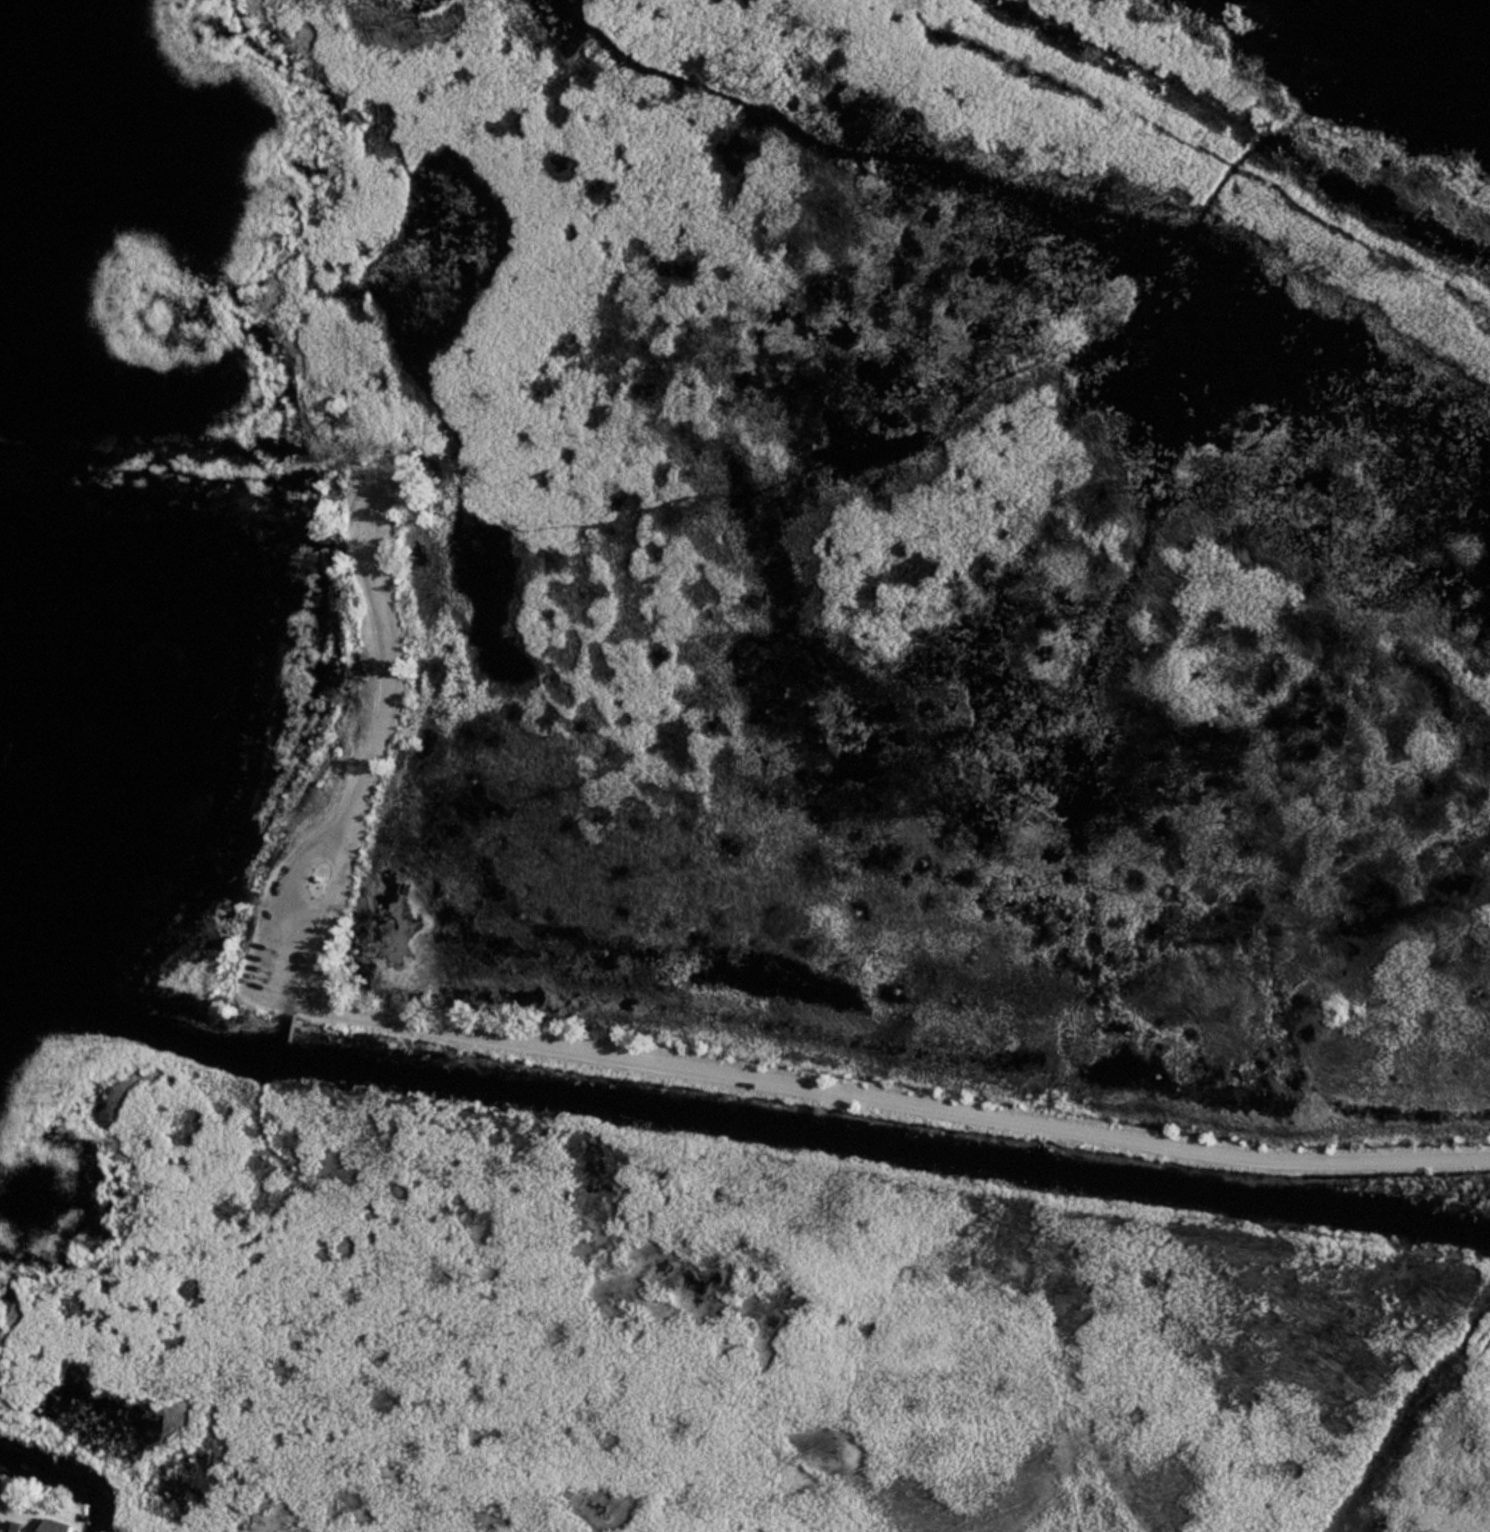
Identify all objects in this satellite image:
road: (284, 895)
parking lot: (299, 919)
road: (288, 999)
road: (653, 1060)
building: (56, 1525)
building: (11, 1526)

